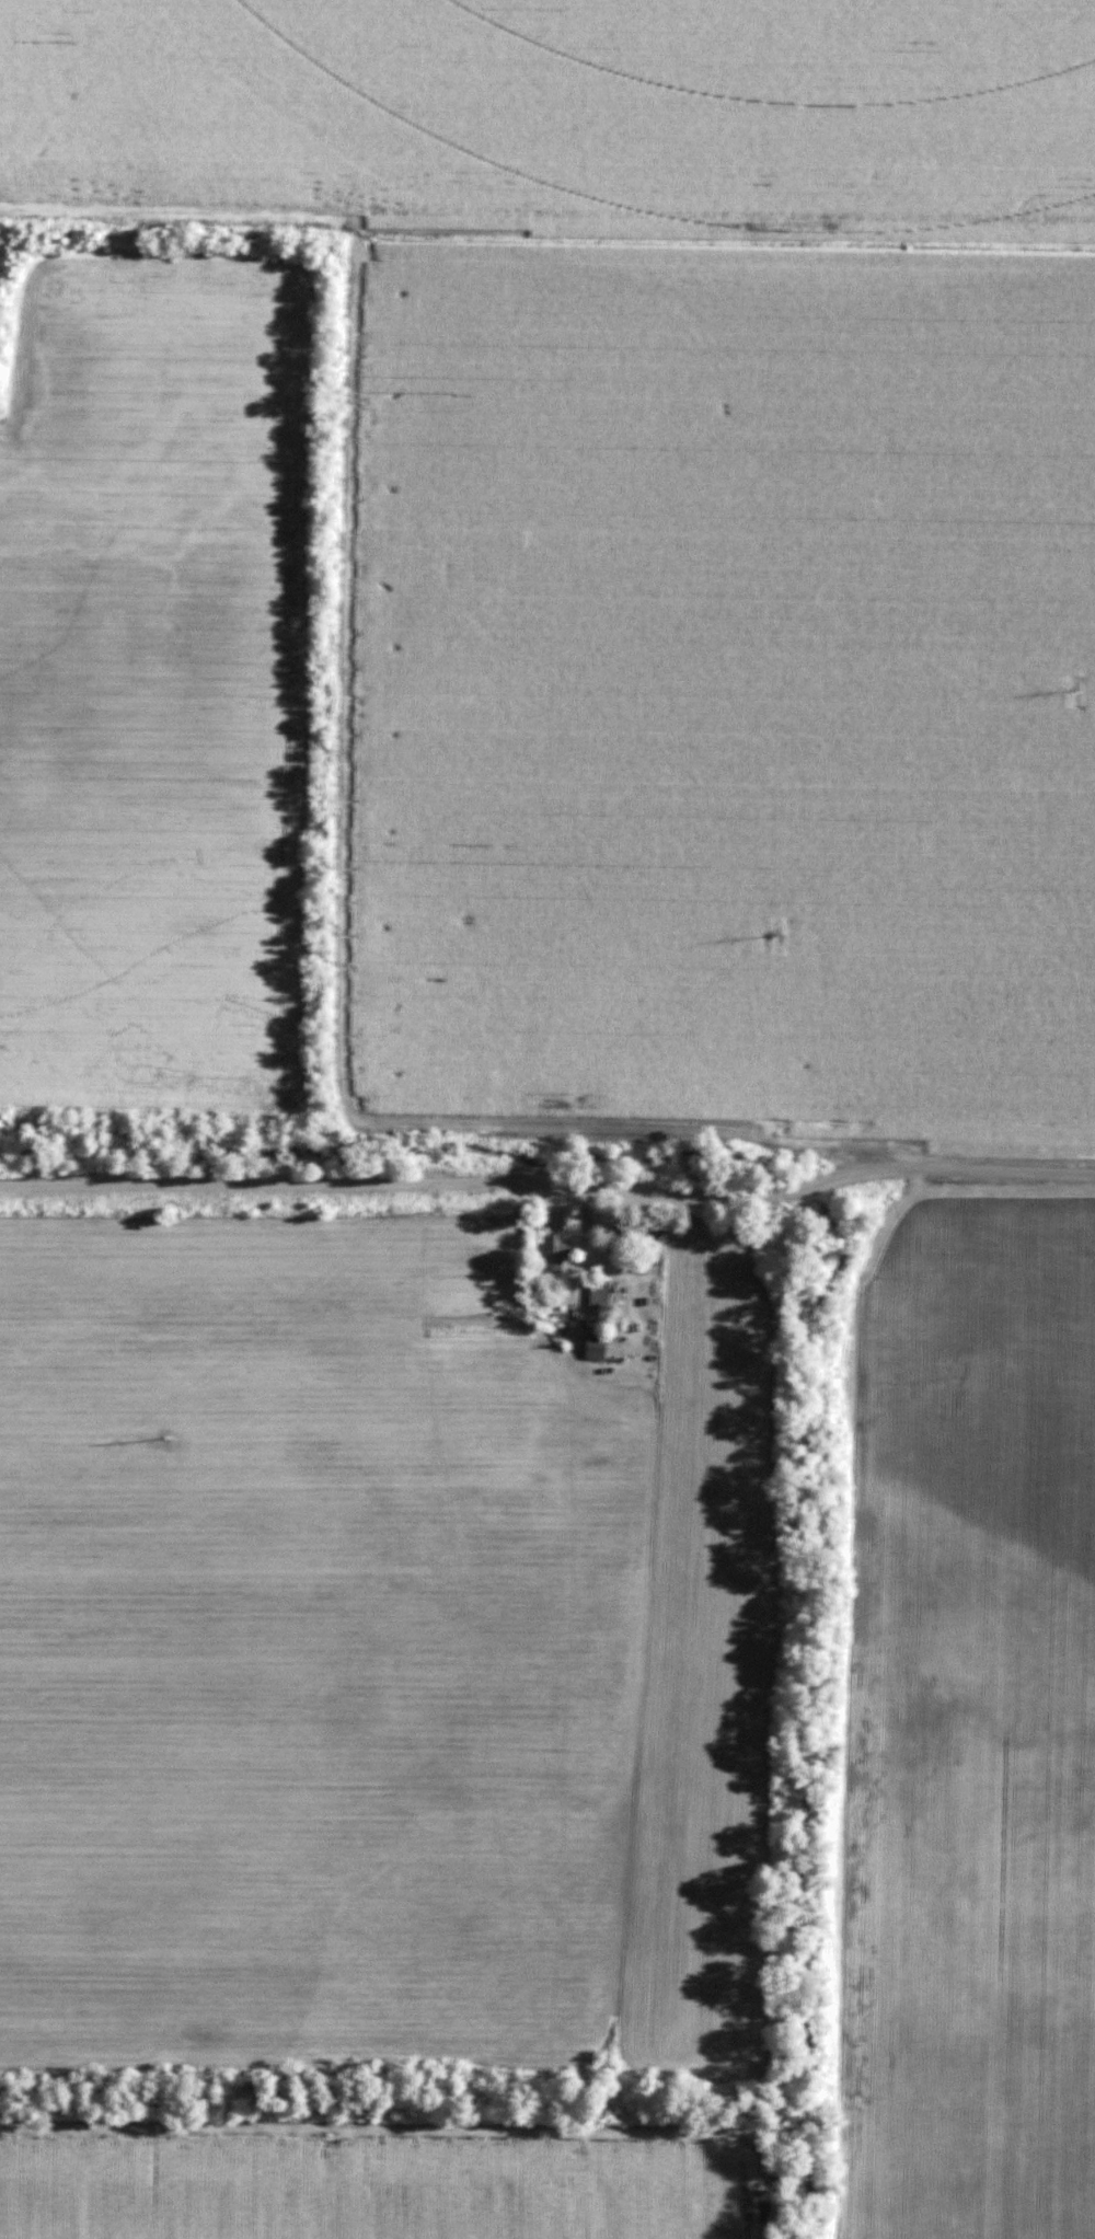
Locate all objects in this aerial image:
power tower: (1073, 689)
power tower: (777, 933)
road: (549, 1184)
power tower: (442, 1209)
power tower: (165, 1436)

